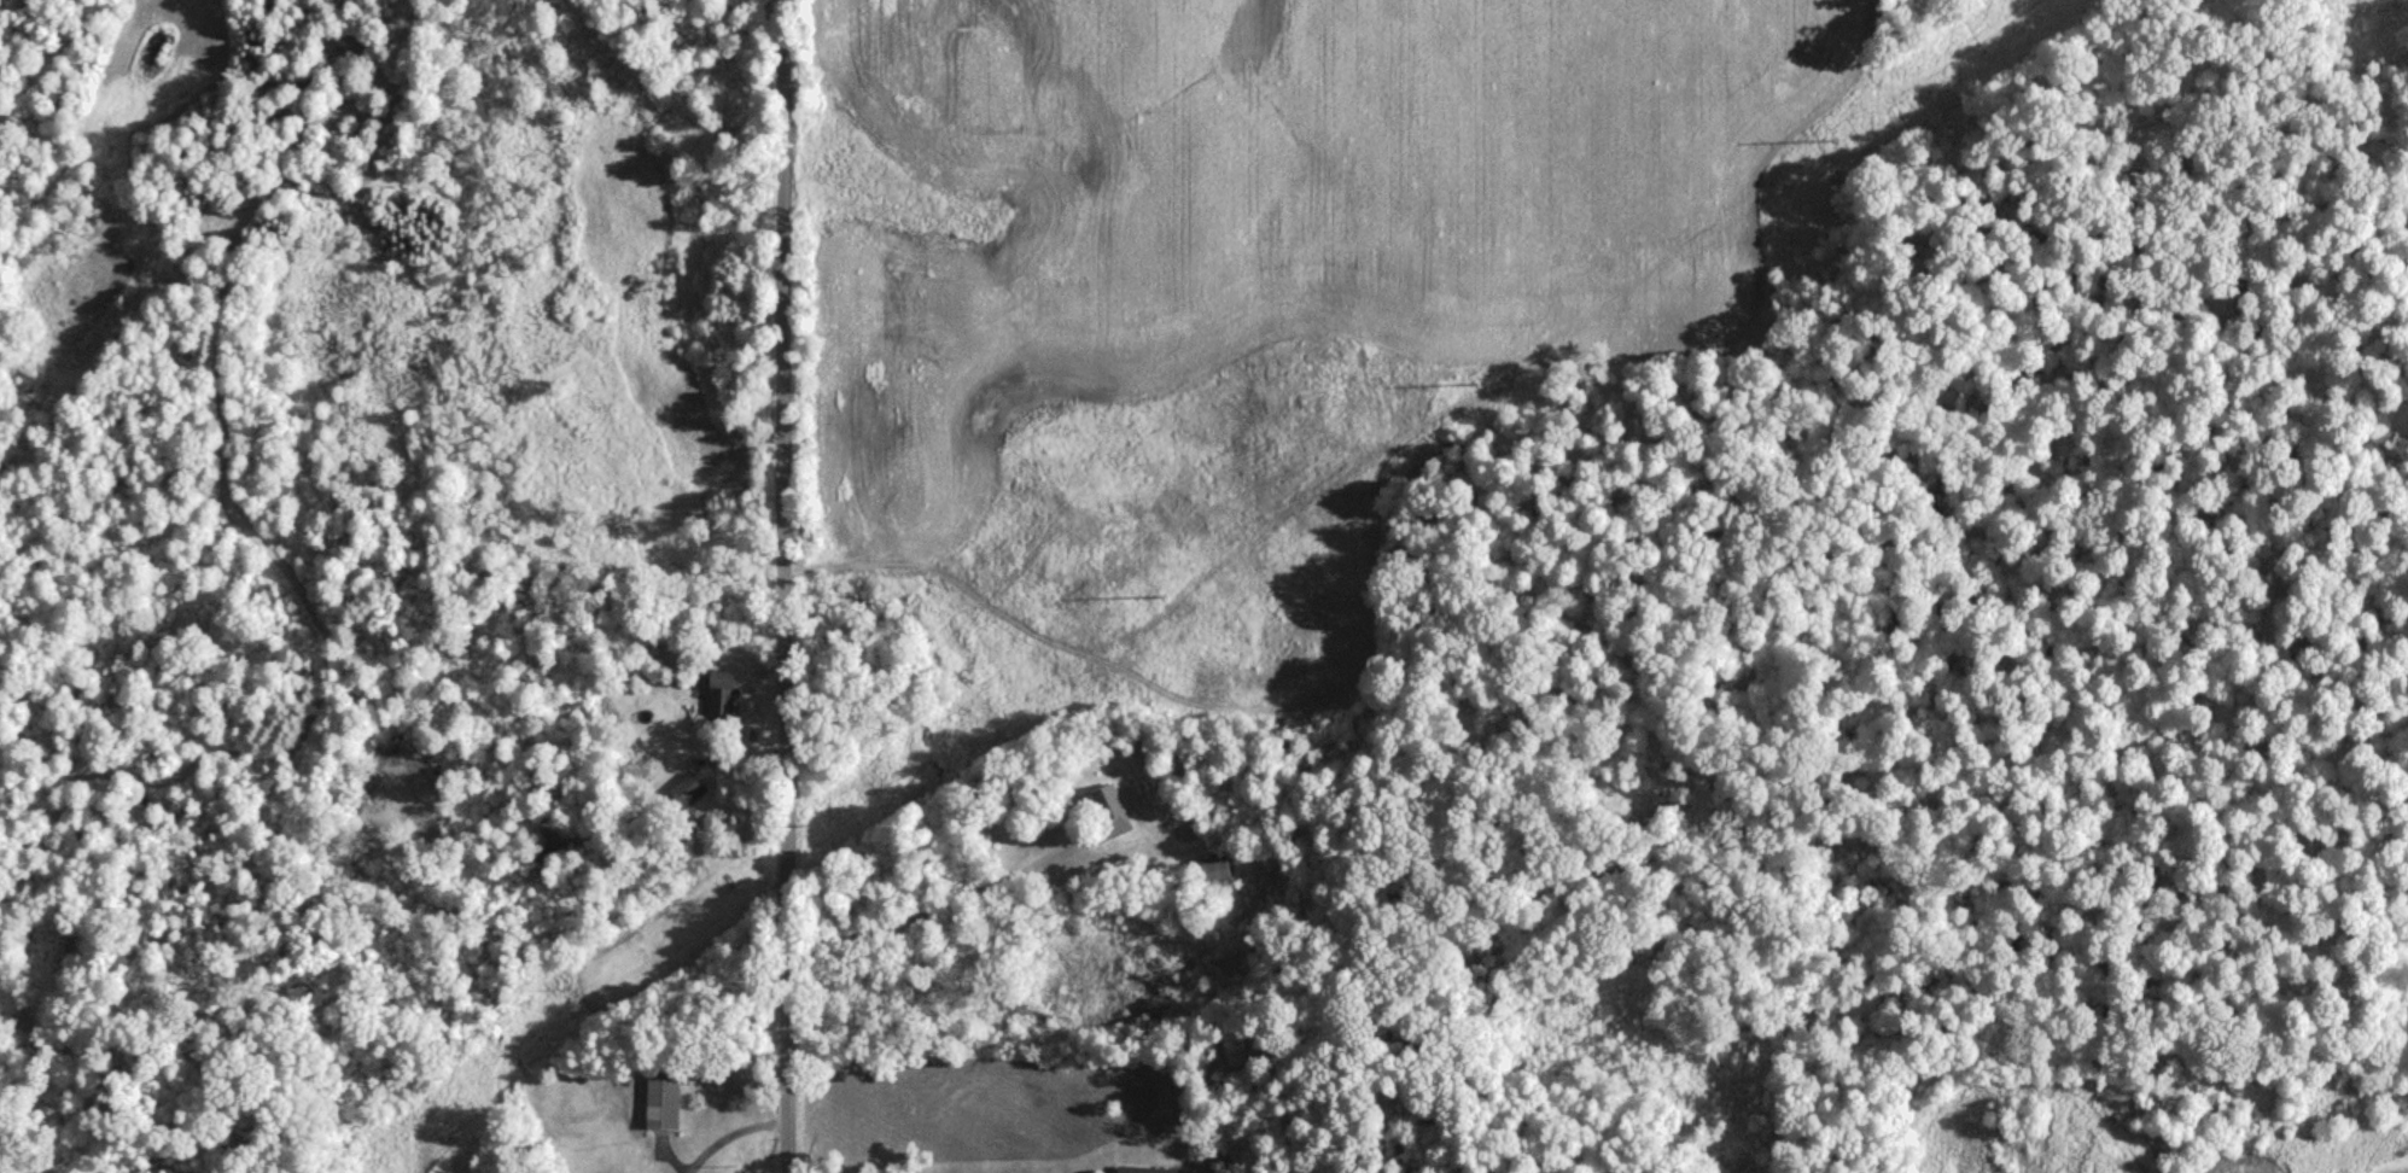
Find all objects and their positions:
power tower: (1889, 100)
power tower: (1483, 377)
road: (426, 585)
road: (781, 586)
power tower: (1143, 605)
building: (718, 694)
building: (683, 792)
building: (1108, 813)
power tower: (806, 835)
building: (1208, 874)
road: (923, 910)
power tower: (564, 993)
building: (660, 1104)
road: (730, 1134)
building: (1136, 1171)

